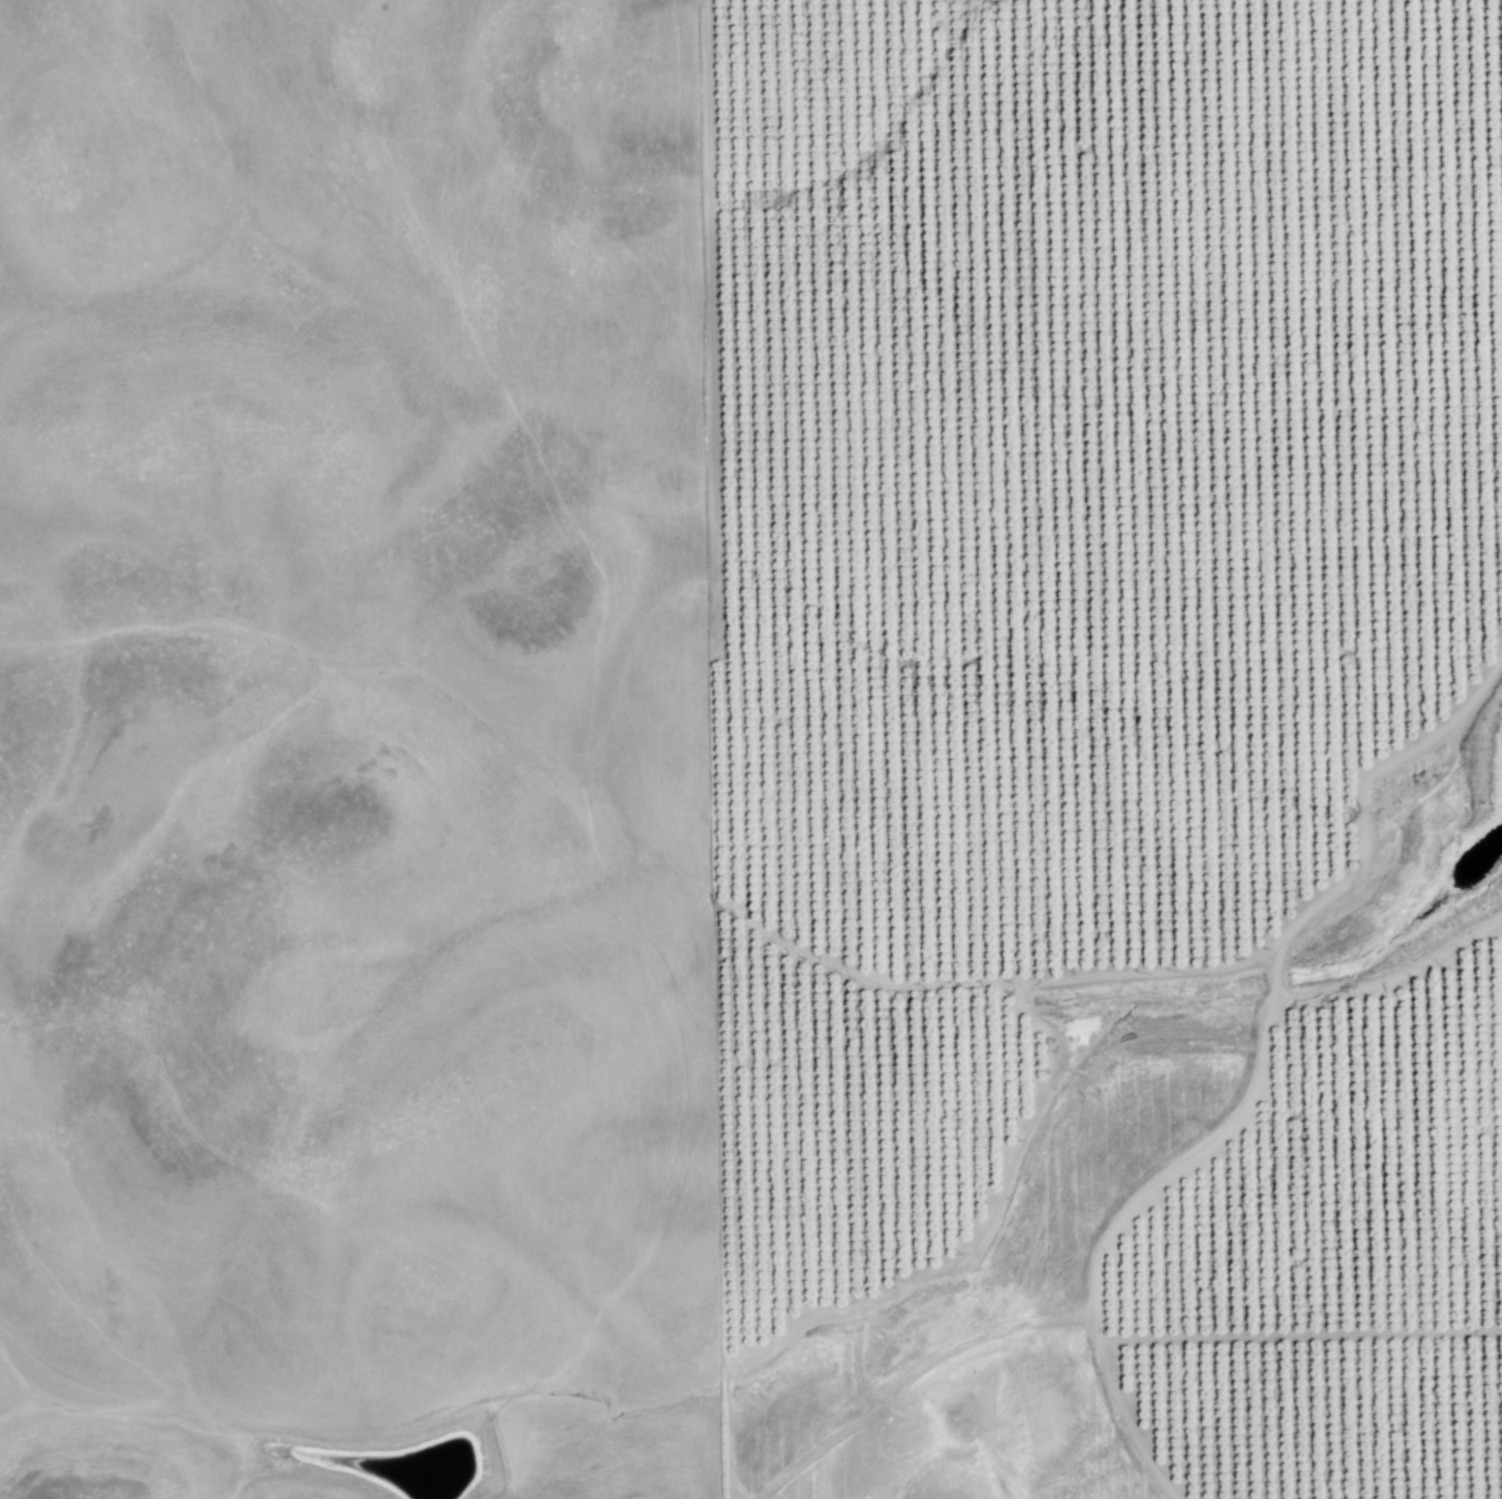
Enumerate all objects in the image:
crop: (1109, 1166)

